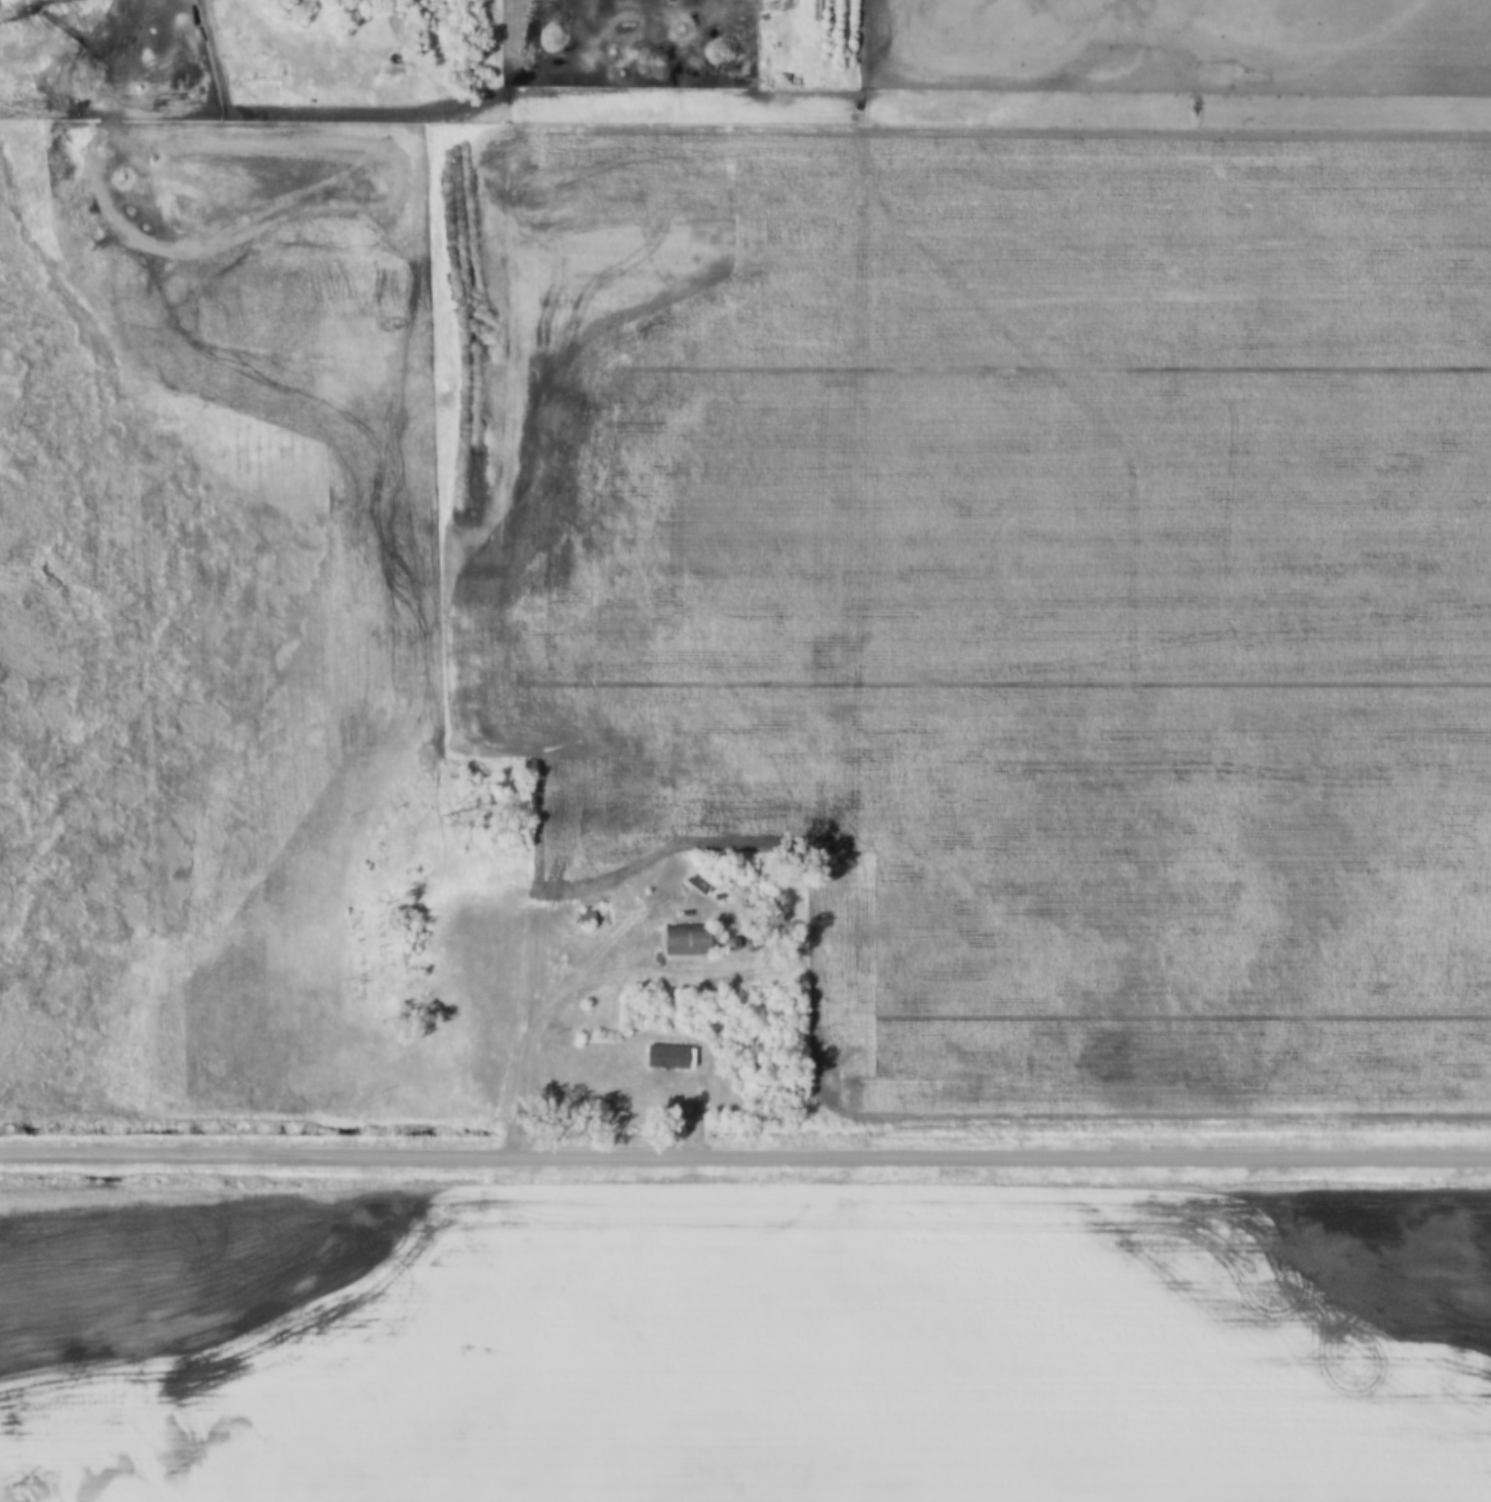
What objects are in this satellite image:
building: (346, 89)
building: (587, 920)
building: (685, 941)
building: (689, 1060)
road: (745, 1152)

